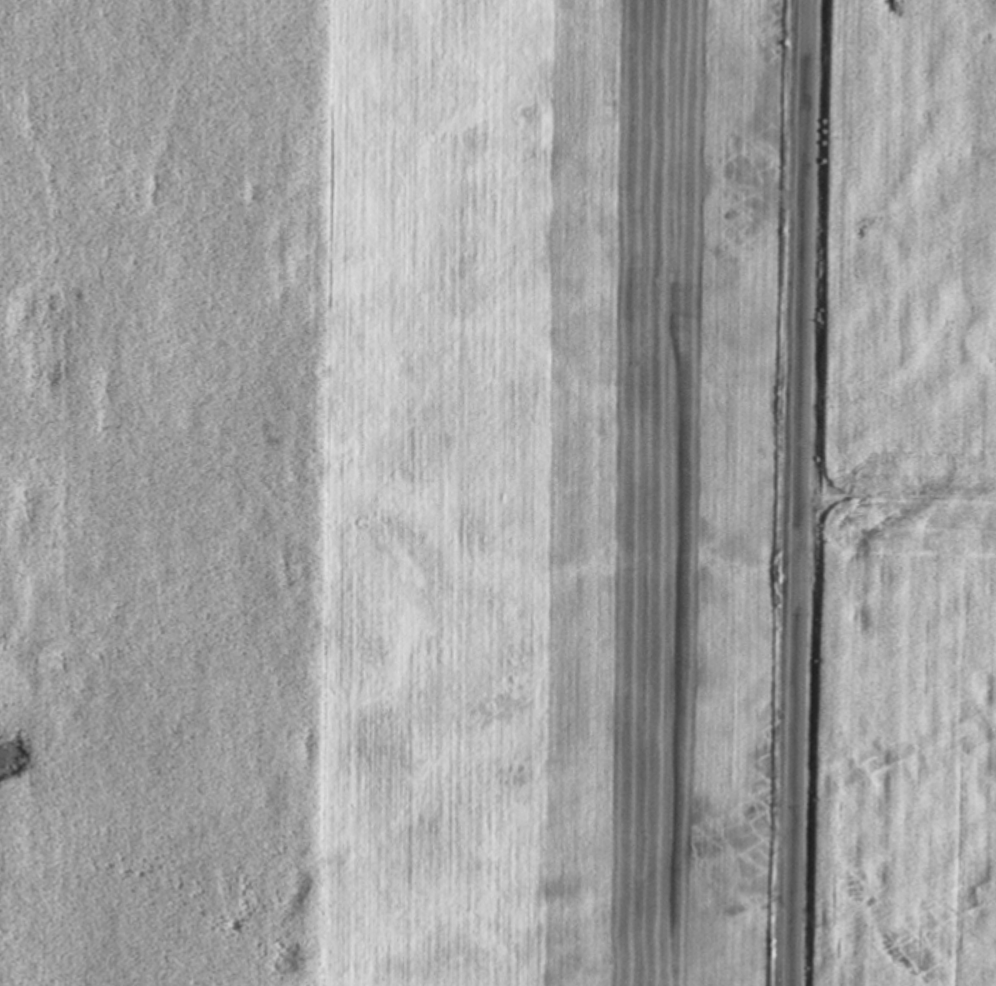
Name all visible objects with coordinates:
road: (803, 493)

